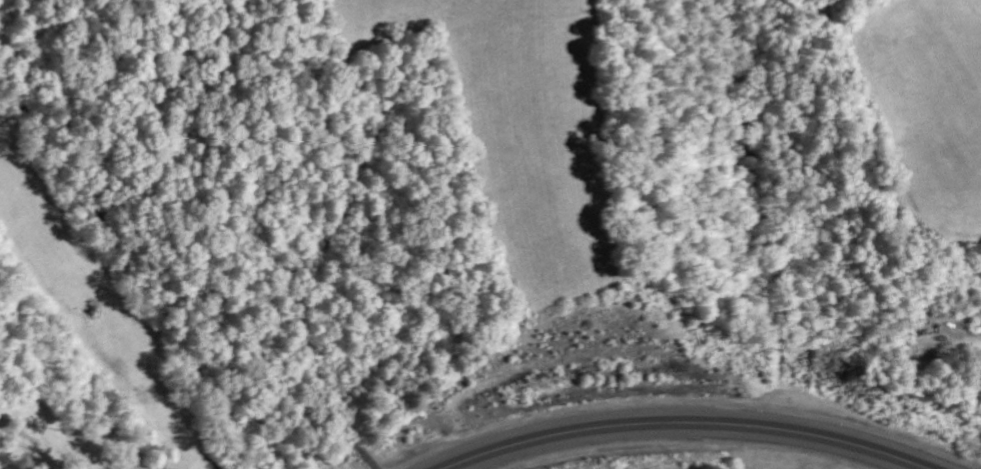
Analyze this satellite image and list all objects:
road: (682, 421)

